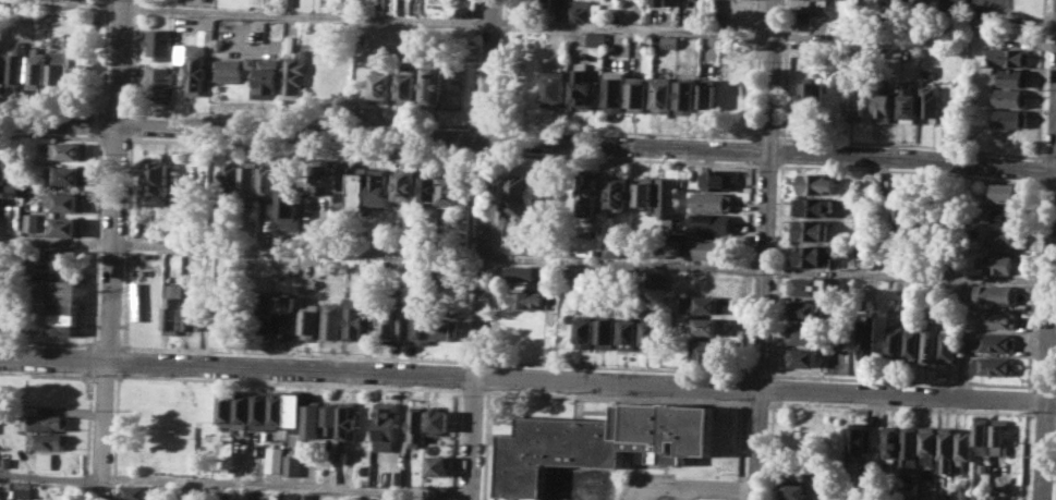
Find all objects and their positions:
building: (895, 0)
building: (921, 0)
road: (64, 2)
building: (256, 2)
building: (290, 2)
building: (659, 2)
building: (535, 4)
parking lot: (982, 8)
building: (465, 11)
building: (580, 12)
parking lot: (736, 13)
building: (648, 15)
road: (1019, 17)
building: (183, 23)
road: (519, 23)
building: (596, 39)
building: (206, 40)
building: (670, 41)
building: (159, 42)
building: (291, 42)
road: (106, 57)
building: (408, 57)
building: (1009, 57)
building: (250, 61)
building: (13, 65)
building: (54, 66)
building: (74, 66)
building: (36, 70)
building: (229, 70)
building: (196, 71)
building: (926, 71)
building: (296, 72)
building: (1013, 77)
building: (268, 80)
road: (1041, 80)
building: (158, 82)
building: (434, 84)
building: (408, 87)
building: (381, 88)
building: (554, 89)
building: (583, 89)
building: (616, 89)
building: (640, 95)
building: (665, 95)
building: (689, 96)
building: (708, 96)
building: (1009, 97)
building: (813, 98)
building: (928, 101)
building: (908, 102)
building: (855, 106)
building: (882, 107)
road: (50, 108)
road: (116, 110)
road: (131, 111)
road: (133, 114)
road: (248, 117)
building: (1009, 118)
road: (98, 123)
road: (131, 125)
road: (487, 126)
road: (694, 133)
road: (49, 135)
road: (768, 136)
road: (113, 138)
road: (527, 139)
road: (911, 143)
road: (301, 146)
building: (68, 150)
road: (485, 153)
road: (1051, 157)
road: (731, 162)
road: (756, 163)
road: (767, 164)
road: (1039, 170)
road: (910, 171)
building: (66, 174)
building: (159, 175)
building: (321, 176)
building: (230, 178)
building: (269, 179)
building: (718, 179)
road: (113, 180)
building: (871, 180)
building: (251, 181)
building: (7, 182)
building: (341, 183)
building: (405, 183)
building: (818, 183)
road: (1049, 185)
building: (378, 187)
road: (485, 187)
building: (428, 188)
building: (359, 190)
building: (450, 190)
building: (645, 191)
building: (587, 192)
building: (1005, 192)
building: (541, 194)
building: (619, 194)
building: (667, 196)
building: (65, 200)
building: (711, 200)
building: (290, 203)
building: (813, 206)
building: (514, 208)
building: (905, 212)
building: (1009, 216)
building: (29, 221)
building: (709, 223)
building: (68, 225)
building: (811, 229)
building: (1006, 236)
road: (98, 240)
road: (126, 242)
building: (586, 245)
building: (672, 245)
building: (617, 247)
building: (713, 247)
road: (765, 249)
building: (814, 254)
road: (524, 258)
building: (1002, 264)
building: (526, 271)
building: (447, 272)
building: (712, 280)
road: (1034, 285)
building: (813, 286)
road: (1053, 288)
building: (64, 292)
building: (997, 293)
building: (964, 296)
building: (529, 300)
building: (703, 304)
building: (173, 308)
building: (808, 310)
building: (4, 313)
building: (264, 314)
building: (192, 316)
building: (227, 316)
building: (284, 316)
building: (350, 318)
building: (997, 318)
building: (306, 319)
building: (329, 321)
building: (387, 321)
building: (404, 326)
building: (709, 326)
building: (423, 329)
building: (447, 329)
building: (586, 331)
building: (608, 332)
building: (652, 332)
building: (630, 333)
building: (805, 333)
road: (1048, 333)
building: (869, 337)
building: (896, 341)
building: (913, 341)
building: (931, 341)
building: (995, 341)
building: (948, 342)
building: (842, 343)
building: (962, 345)
building: (709, 349)
road: (232, 351)
building: (550, 353)
building: (802, 356)
road: (121, 358)
road: (92, 359)
road: (475, 361)
building: (995, 365)
road: (618, 366)
road: (760, 373)
road: (105, 376)
road: (90, 377)
road: (527, 377)
road: (902, 380)
road: (289, 381)
road: (744, 387)
road: (1045, 387)
road: (1055, 387)
road: (475, 389)
road: (89, 392)
road: (617, 394)
road: (1029, 399)
road: (760, 401)
building: (221, 405)
building: (238, 406)
road: (902, 406)
building: (272, 407)
building: (255, 410)
building: (290, 412)
road: (1046, 413)
building: (327, 417)
building: (308, 418)
building: (344, 419)
building: (440, 420)
building: (48, 422)
building: (385, 425)
building: (417, 426)
road: (102, 429)
road: (116, 434)
building: (999, 436)
road: (472, 437)
building: (857, 437)
building: (982, 437)
building: (49, 440)
building: (893, 441)
building: (600, 442)
building: (963, 444)
building: (910, 446)
building: (928, 446)
road: (742, 449)
building: (946, 449)
road: (1027, 454)
building: (271, 459)
building: (46, 460)
building: (7, 461)
building: (290, 462)
building: (438, 465)
building: (982, 466)
building: (796, 467)
building: (393, 478)
road: (234, 481)
road: (657, 485)
road: (720, 487)
parking lot: (661, 488)
building: (24, 489)
building: (794, 490)
building: (136, 492)
road: (683, 492)
building: (908, 493)
building: (980, 493)
building: (246, 495)
building: (286, 496)
building: (305, 497)
building: (996, 497)
building: (433, 499)

